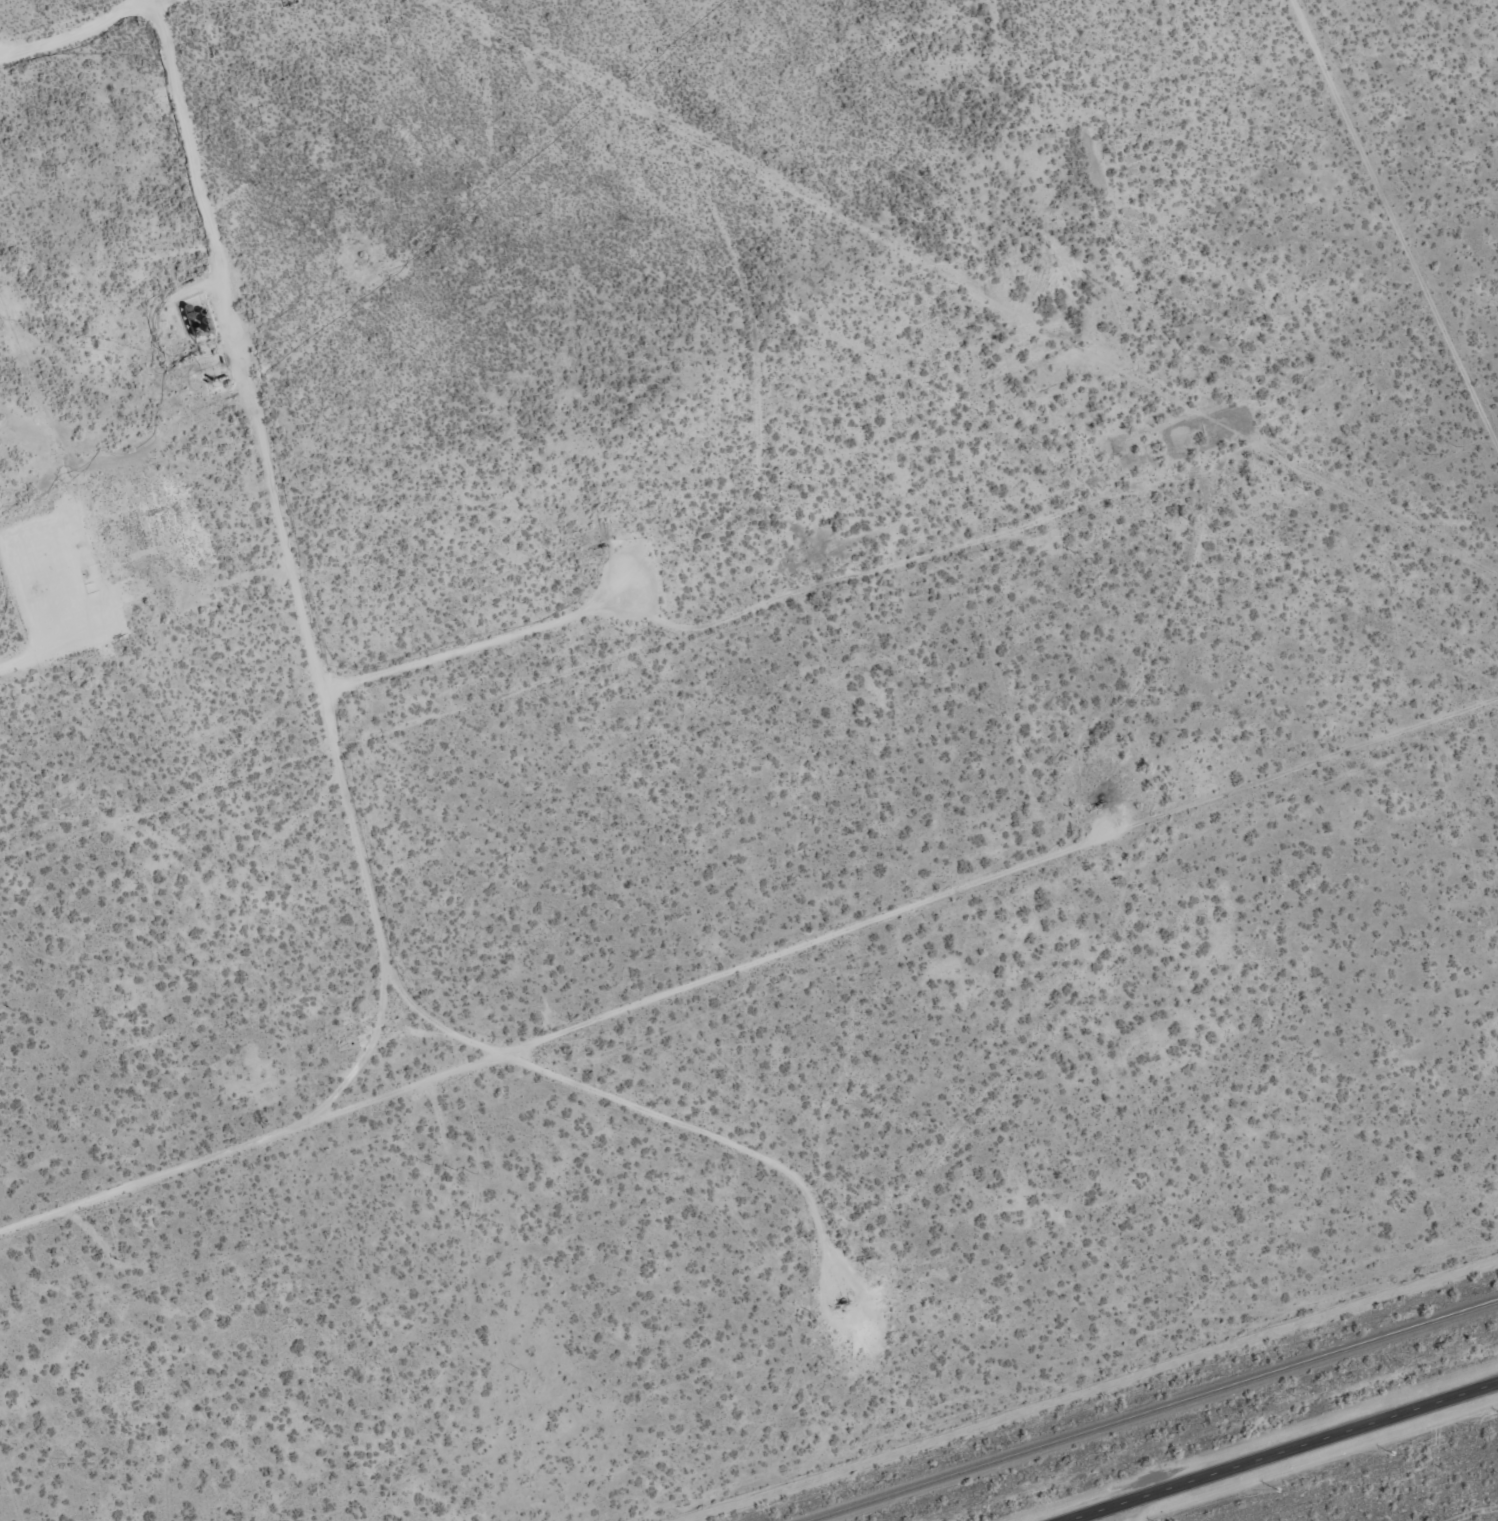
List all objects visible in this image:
road: (85, 24)
road: (1361, 281)
road: (240, 558)
road: (914, 703)
road: (151, 825)
road: (751, 971)
road: (791, 1135)
railway: (1153, 1410)
road: (1281, 1451)
road: (1119, 1513)

